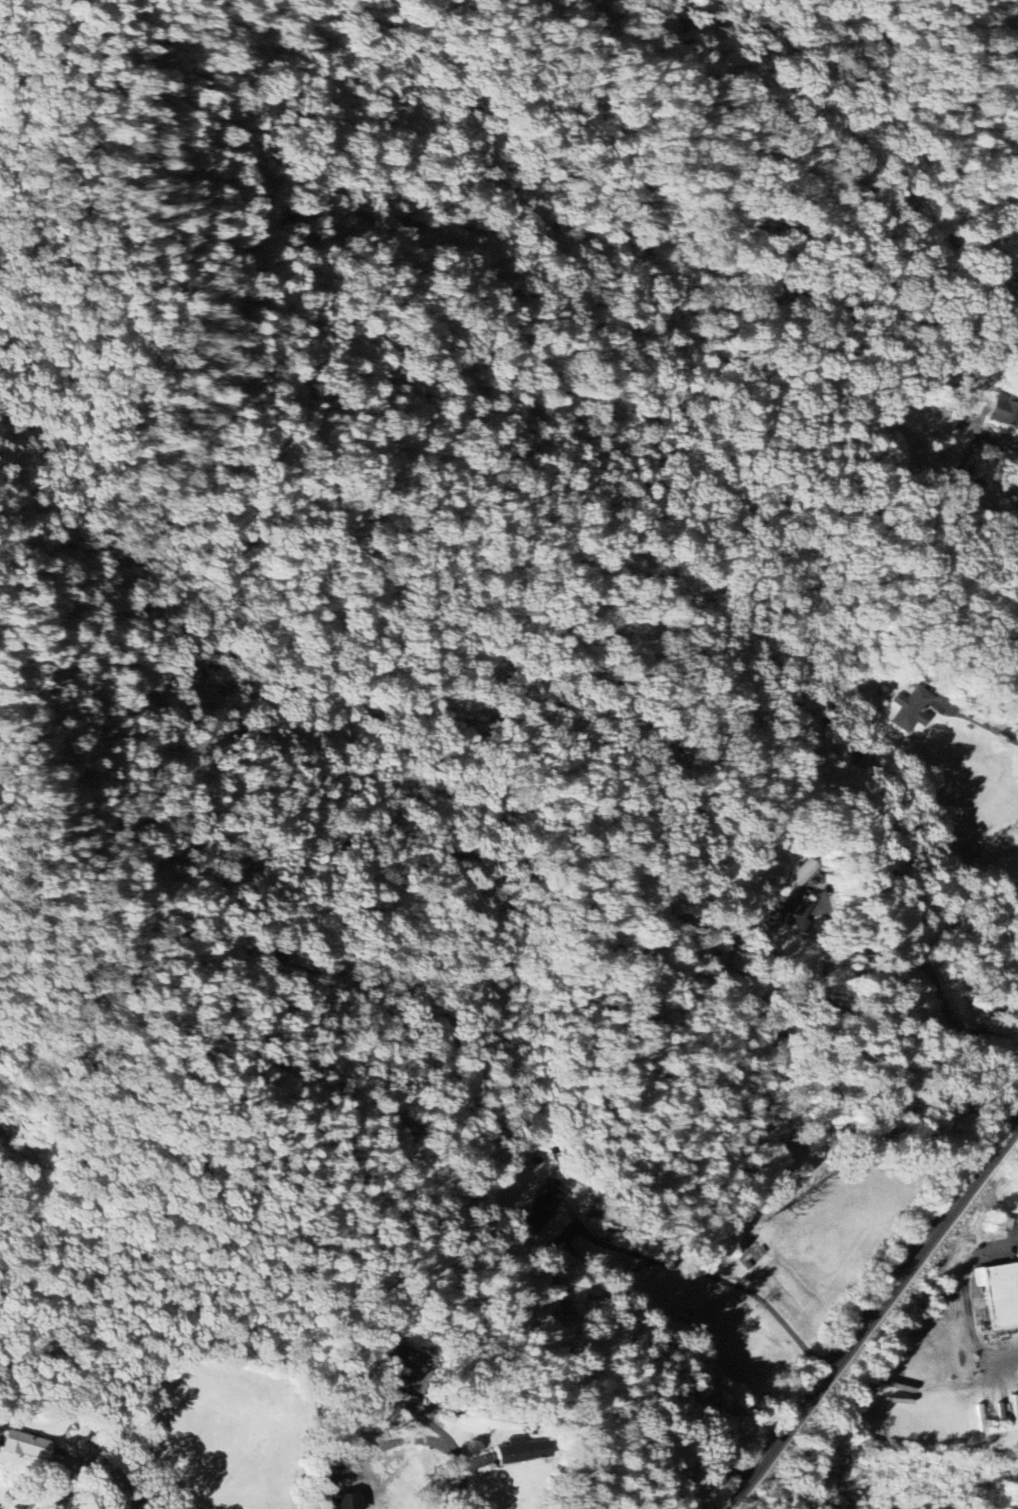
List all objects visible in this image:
road: (764, 19)
road: (958, 125)
building: (1005, 410)
road: (958, 476)
building: (912, 710)
road: (978, 721)
road: (889, 970)
building: (1017, 1255)
road: (659, 1263)
building: (1002, 1293)
road: (969, 1302)
road: (873, 1316)
building: (32, 1447)
building: (523, 1451)
building: (349, 1500)

